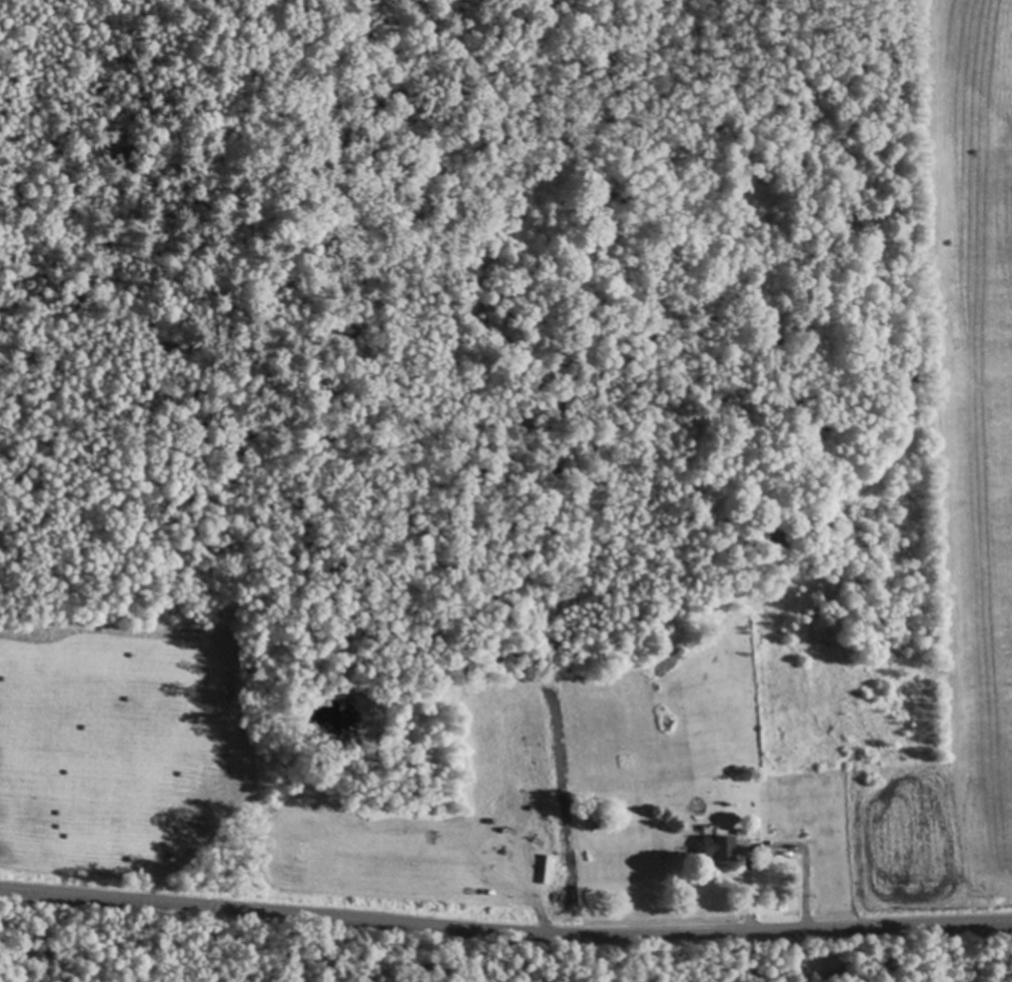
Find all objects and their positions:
building: (741, 832)
building: (715, 843)
road: (505, 932)

